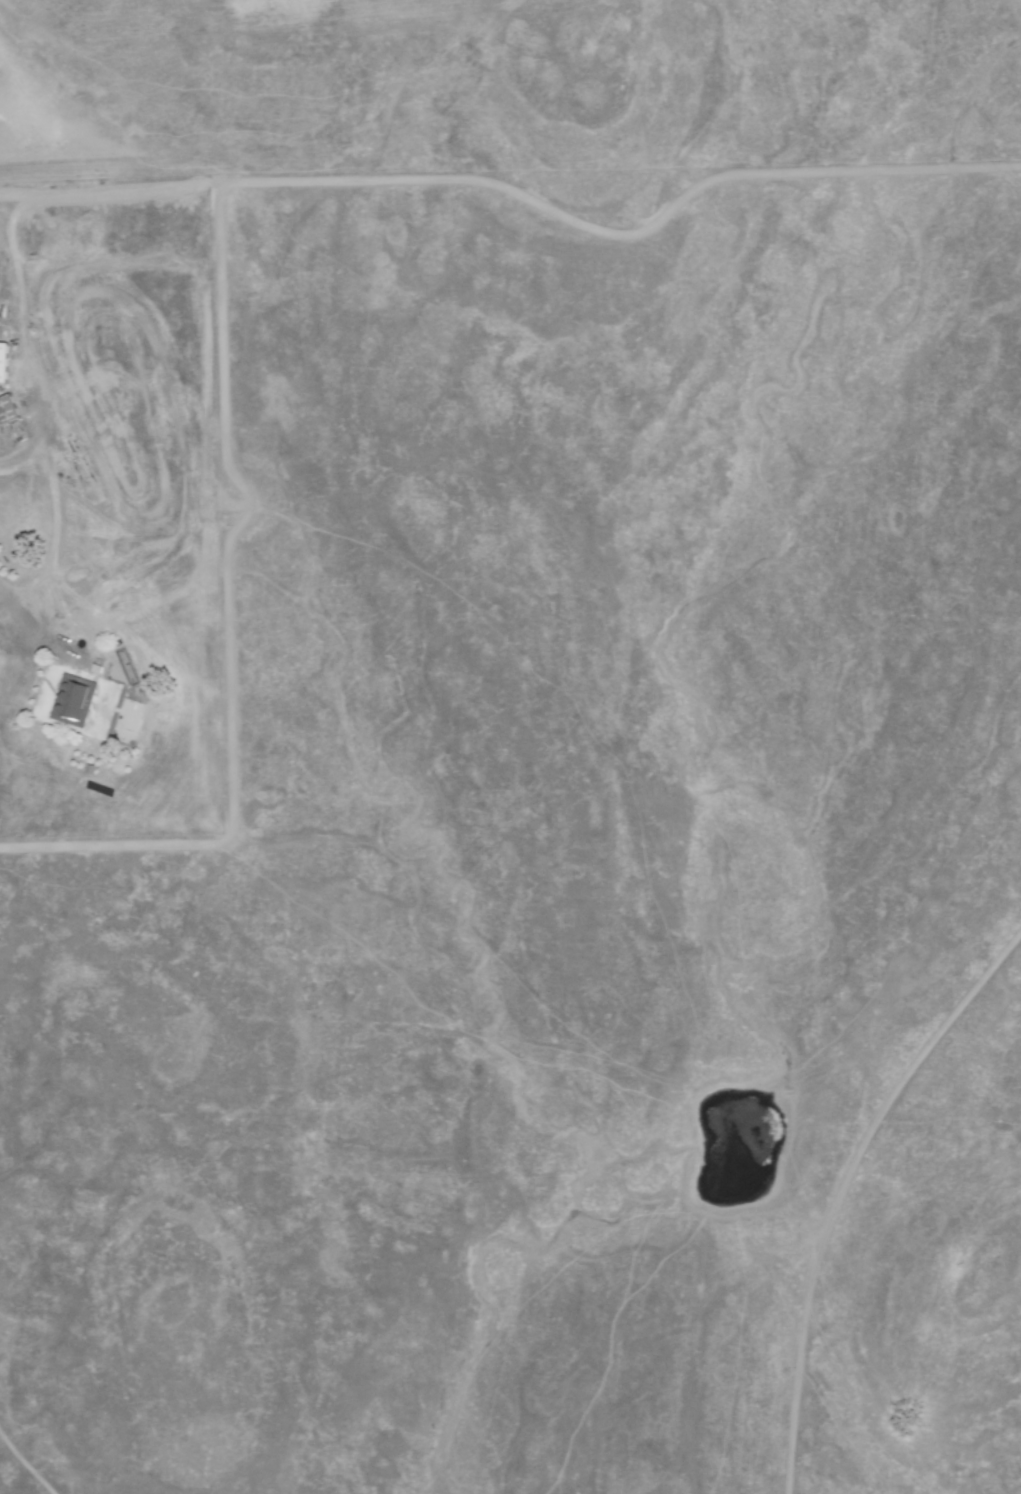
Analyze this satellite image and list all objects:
building: (0, 360)
building: (5, 410)
road: (34, 431)
road: (53, 528)
road: (29, 631)

